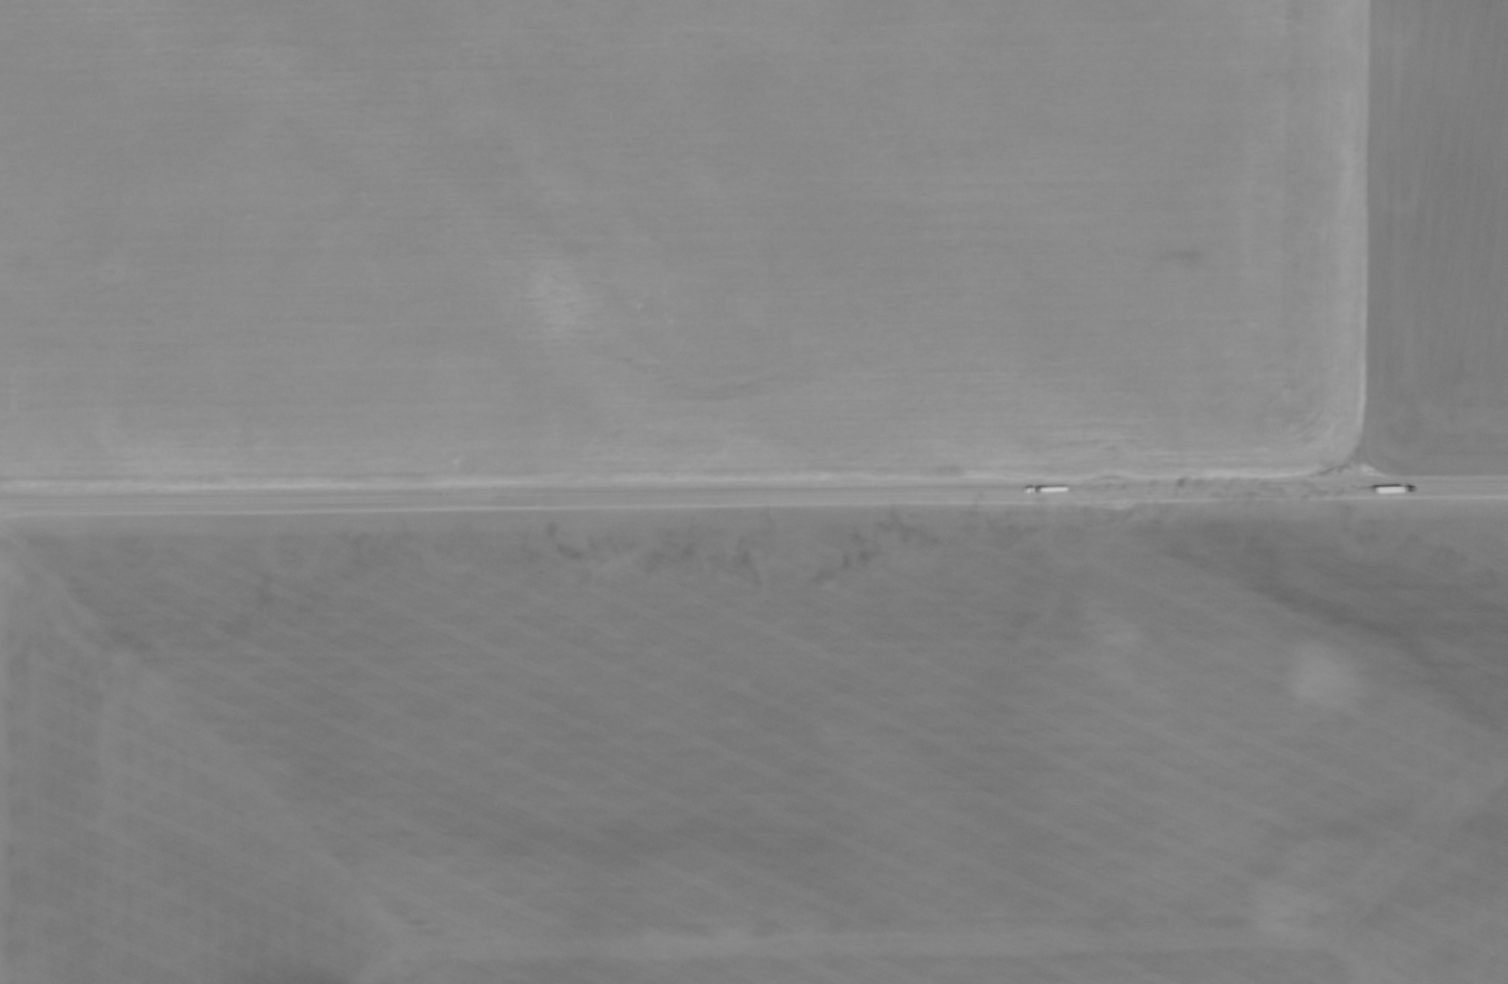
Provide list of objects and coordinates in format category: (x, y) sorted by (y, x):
crop: (750, 237)
road: (753, 494)
crop: (759, 746)

